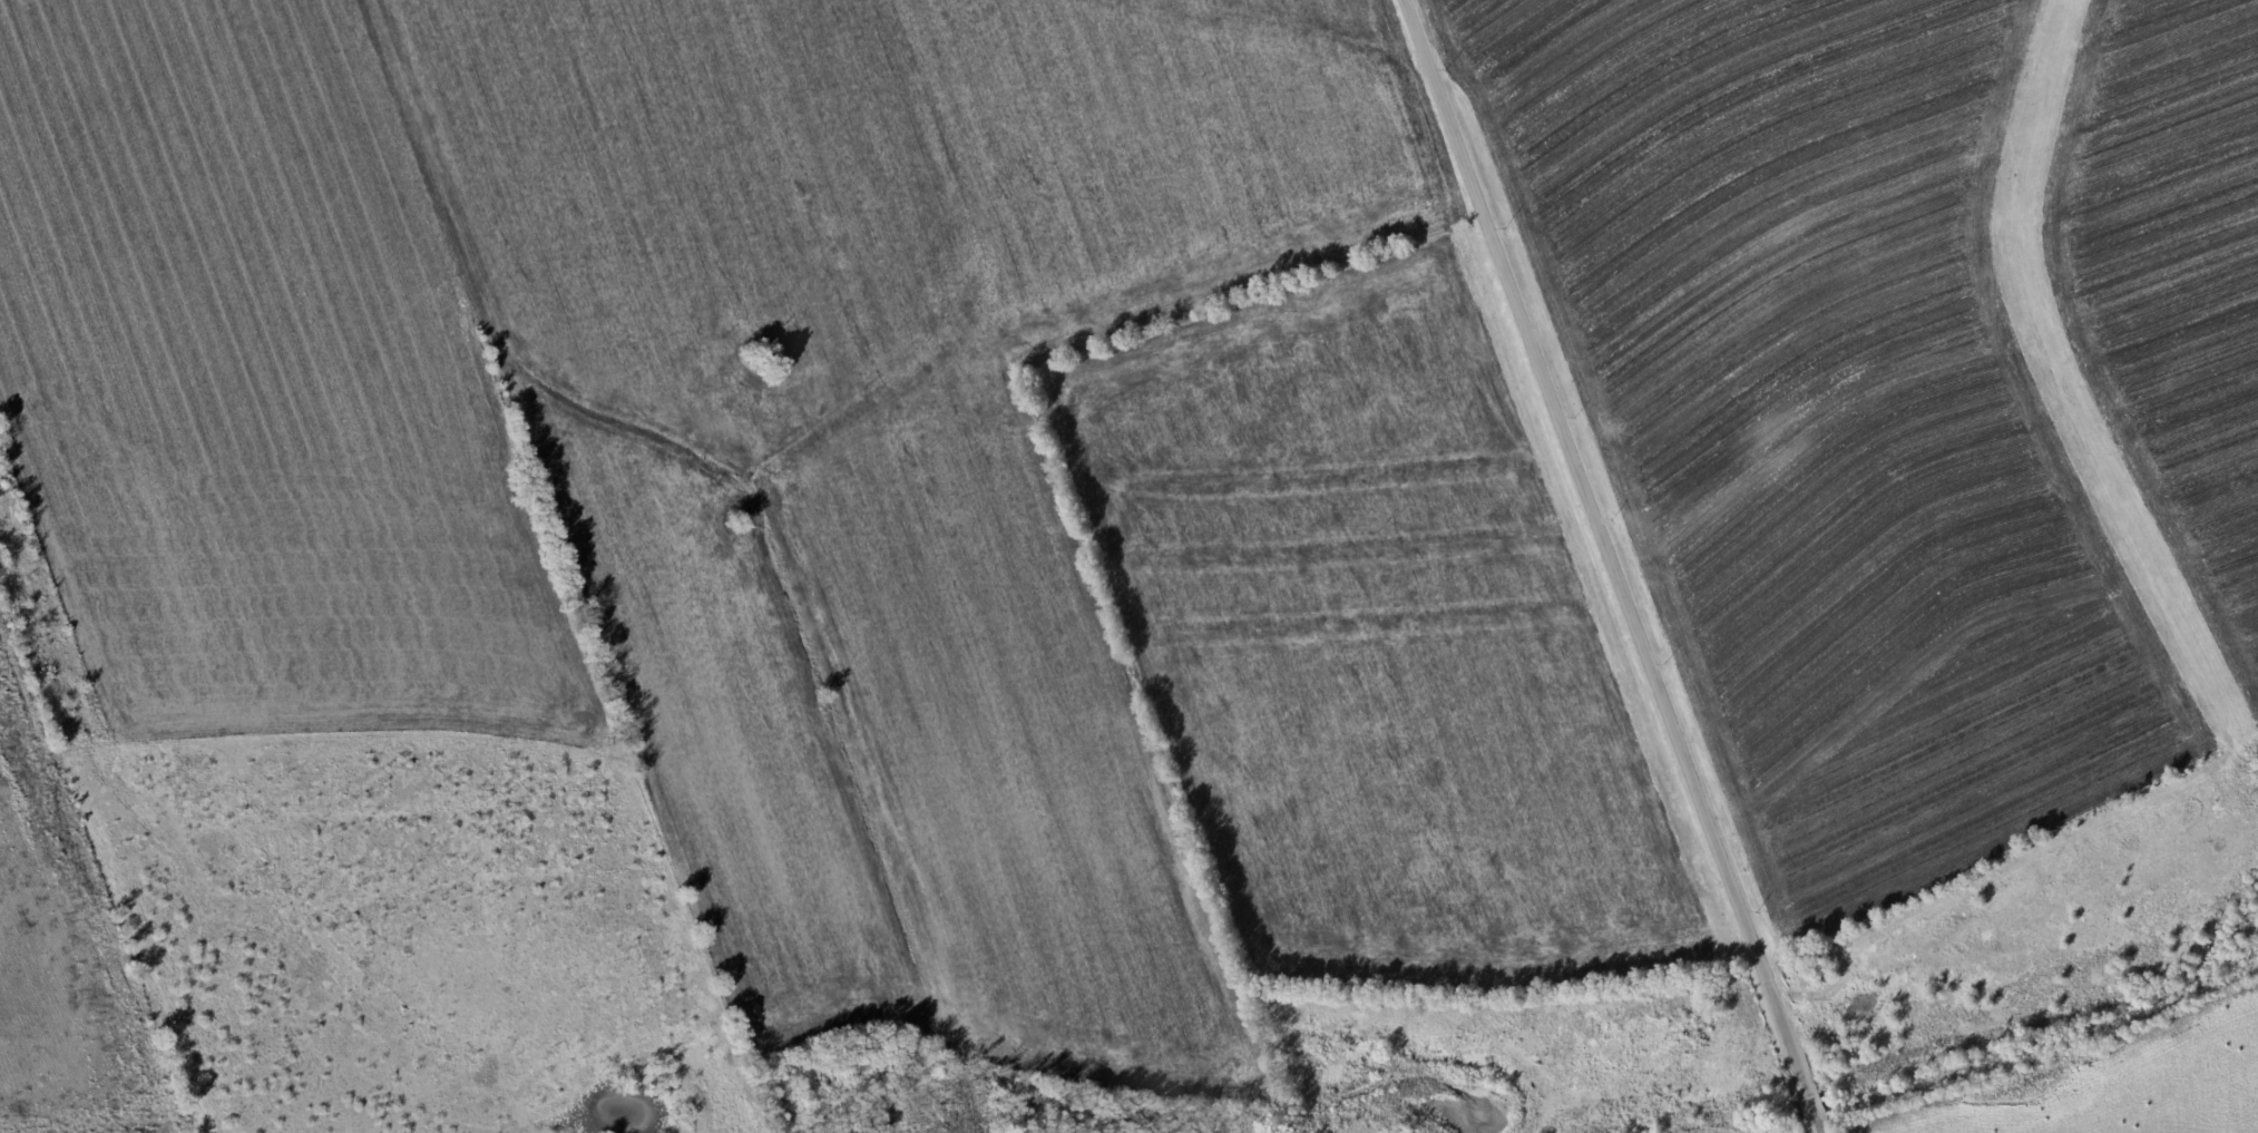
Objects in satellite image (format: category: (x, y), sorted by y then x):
road: (1612, 566)
road: (2, 939)
road: (2, 947)

